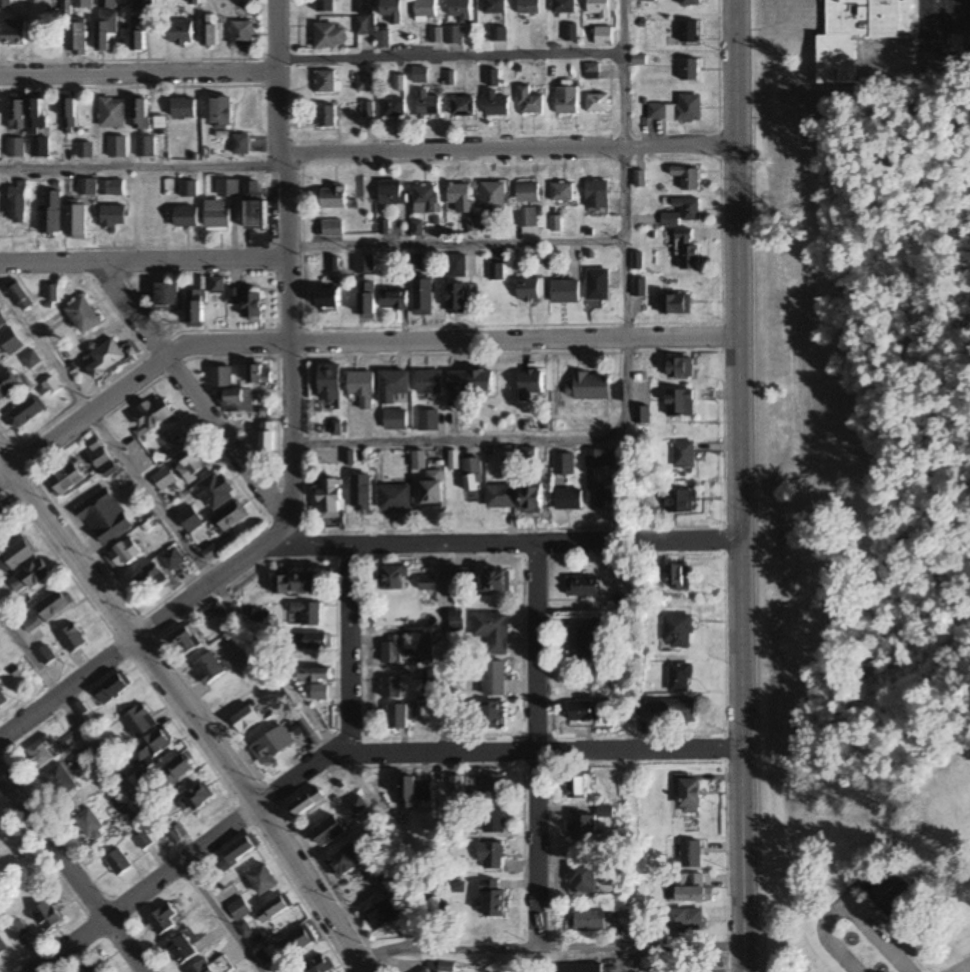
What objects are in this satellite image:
building: (194, 1)
building: (690, 3)
building: (5, 4)
building: (108, 4)
building: (75, 6)
building: (325, 6)
building: (495, 7)
building: (529, 7)
building: (564, 7)
building: (427, 8)
building: (599, 9)
building: (394, 10)
building: (462, 10)
building: (365, 17)
building: (141, 26)
building: (106, 31)
building: (210, 31)
building: (14, 33)
building: (181, 33)
building: (571, 33)
building: (689, 33)
building: (242, 34)
building: (857, 34)
building: (454, 35)
building: (330, 37)
building: (603, 37)
building: (76, 39)
building: (382, 40)
road: (475, 56)
building: (689, 70)
building: (591, 72)
road: (138, 74)
building: (420, 75)
building: (328, 83)
building: (400, 83)
building: (364, 84)
building: (567, 100)
building: (530, 103)
building: (598, 104)
building: (497, 105)
building: (428, 106)
building: (463, 107)
building: (394, 108)
building: (183, 109)
building: (367, 110)
building: (677, 110)
building: (17, 112)
building: (69, 112)
building: (221, 113)
building: (113, 114)
building: (35, 115)
building: (141, 115)
building: (326, 117)
building: (241, 145)
building: (145, 147)
road: (506, 147)
building: (16, 148)
building: (40, 148)
building: (118, 148)
building: (85, 151)
road: (140, 169)
building: (688, 177)
building: (87, 187)
building: (111, 188)
building: (228, 188)
building: (189, 190)
building: (392, 192)
building: (563, 192)
building: (529, 193)
building: (598, 194)
building: (462, 197)
building: (494, 197)
building: (333, 198)
building: (427, 200)
building: (17, 204)
building: (688, 208)
building: (51, 213)
building: (256, 216)
building: (114, 217)
building: (186, 217)
building: (527, 218)
building: (218, 219)
building: (670, 219)
building: (76, 220)
building: (332, 229)
road: (547, 240)
building: (687, 252)
road: (142, 260)
building: (415, 261)
building: (456, 266)
building: (497, 272)
road: (285, 274)
building: (216, 285)
building: (366, 285)
building: (599, 285)
building: (640, 287)
road: (627, 288)
building: (531, 290)
building: (566, 292)
building: (51, 293)
building: (167, 293)
building: (21, 296)
building: (422, 297)
building: (328, 299)
building: (393, 300)
building: (458, 300)
building: (248, 302)
building: (678, 305)
building: (196, 307)
building: (83, 315)
building: (2, 320)
road: (348, 340)
building: (10, 341)
building: (106, 358)
building: (30, 359)
building: (682, 367)
building: (259, 373)
building: (220, 376)
building: (330, 381)
building: (429, 381)
building: (472, 381)
building: (7, 383)
building: (394, 385)
building: (531, 385)
building: (51, 386)
building: (590, 386)
building: (362, 387)
road: (190, 391)
building: (239, 399)
building: (681, 402)
building: (24, 412)
building: (642, 414)
building: (152, 416)
building: (396, 419)
building: (429, 420)
building: (268, 437)
road: (501, 442)
building: (684, 454)
building: (100, 457)
building: (595, 457)
building: (564, 463)
building: (192, 466)
building: (164, 478)
building: (67, 479)
building: (473, 480)
road: (740, 485)
building: (216, 490)
building: (433, 490)
building: (361, 492)
building: (605, 494)
building: (502, 497)
building: (330, 498)
building: (395, 498)
building: (533, 498)
building: (570, 499)
building: (681, 501)
building: (4, 512)
building: (232, 515)
building: (105, 517)
building: (190, 518)
road: (166, 519)
road: (338, 542)
building: (123, 554)
building: (15, 555)
building: (173, 558)
building: (31, 575)
building: (394, 578)
building: (463, 578)
building: (147, 580)
building: (496, 581)
building: (681, 581)
building: (299, 583)
building: (427, 584)
building: (582, 586)
building: (55, 604)
building: (308, 613)
building: (456, 621)
building: (493, 631)
building: (678, 631)
building: (72, 638)
building: (586, 638)
building: (185, 641)
building: (310, 642)
road: (346, 647)
road: (445, 648)
building: (391, 650)
building: (45, 653)
building: (426, 654)
building: (209, 669)
building: (315, 675)
building: (680, 677)
building: (495, 678)
building: (113, 688)
building: (391, 688)
building: (319, 693)
building: (2, 698)
building: (645, 709)
road: (187, 710)
building: (678, 711)
building: (581, 712)
building: (494, 716)
building: (398, 717)
building: (247, 718)
building: (139, 721)
building: (272, 745)
road: (533, 746)
building: (153, 747)
road: (347, 751)
building: (40, 753)
building: (177, 771)
building: (59, 781)
building: (577, 785)
building: (494, 788)
building: (415, 791)
road: (131, 792)
building: (689, 793)
building: (197, 798)
building: (308, 802)
building: (358, 805)
building: (494, 820)
building: (90, 826)
building: (583, 827)
building: (329, 831)
building: (239, 851)
building: (492, 854)
building: (691, 854)
building: (348, 859)
building: (118, 862)
park: (866, 873)
building: (390, 878)
building: (583, 878)
road: (68, 879)
building: (263, 879)
building: (692, 889)
building: (894, 890)
building: (495, 902)
road: (846, 905)
building: (239, 909)
building: (272, 909)
building: (384, 914)
building: (46, 916)
building: (591, 920)
building: (685, 920)
building: (161, 921)
building: (17, 930)
building: (297, 941)
building: (2, 946)
road: (543, 947)
building: (182, 949)
building: (317, 964)
building: (212, 966)
road: (960, 966)
building: (89, 968)
building: (573, 968)
building: (428, 970)

